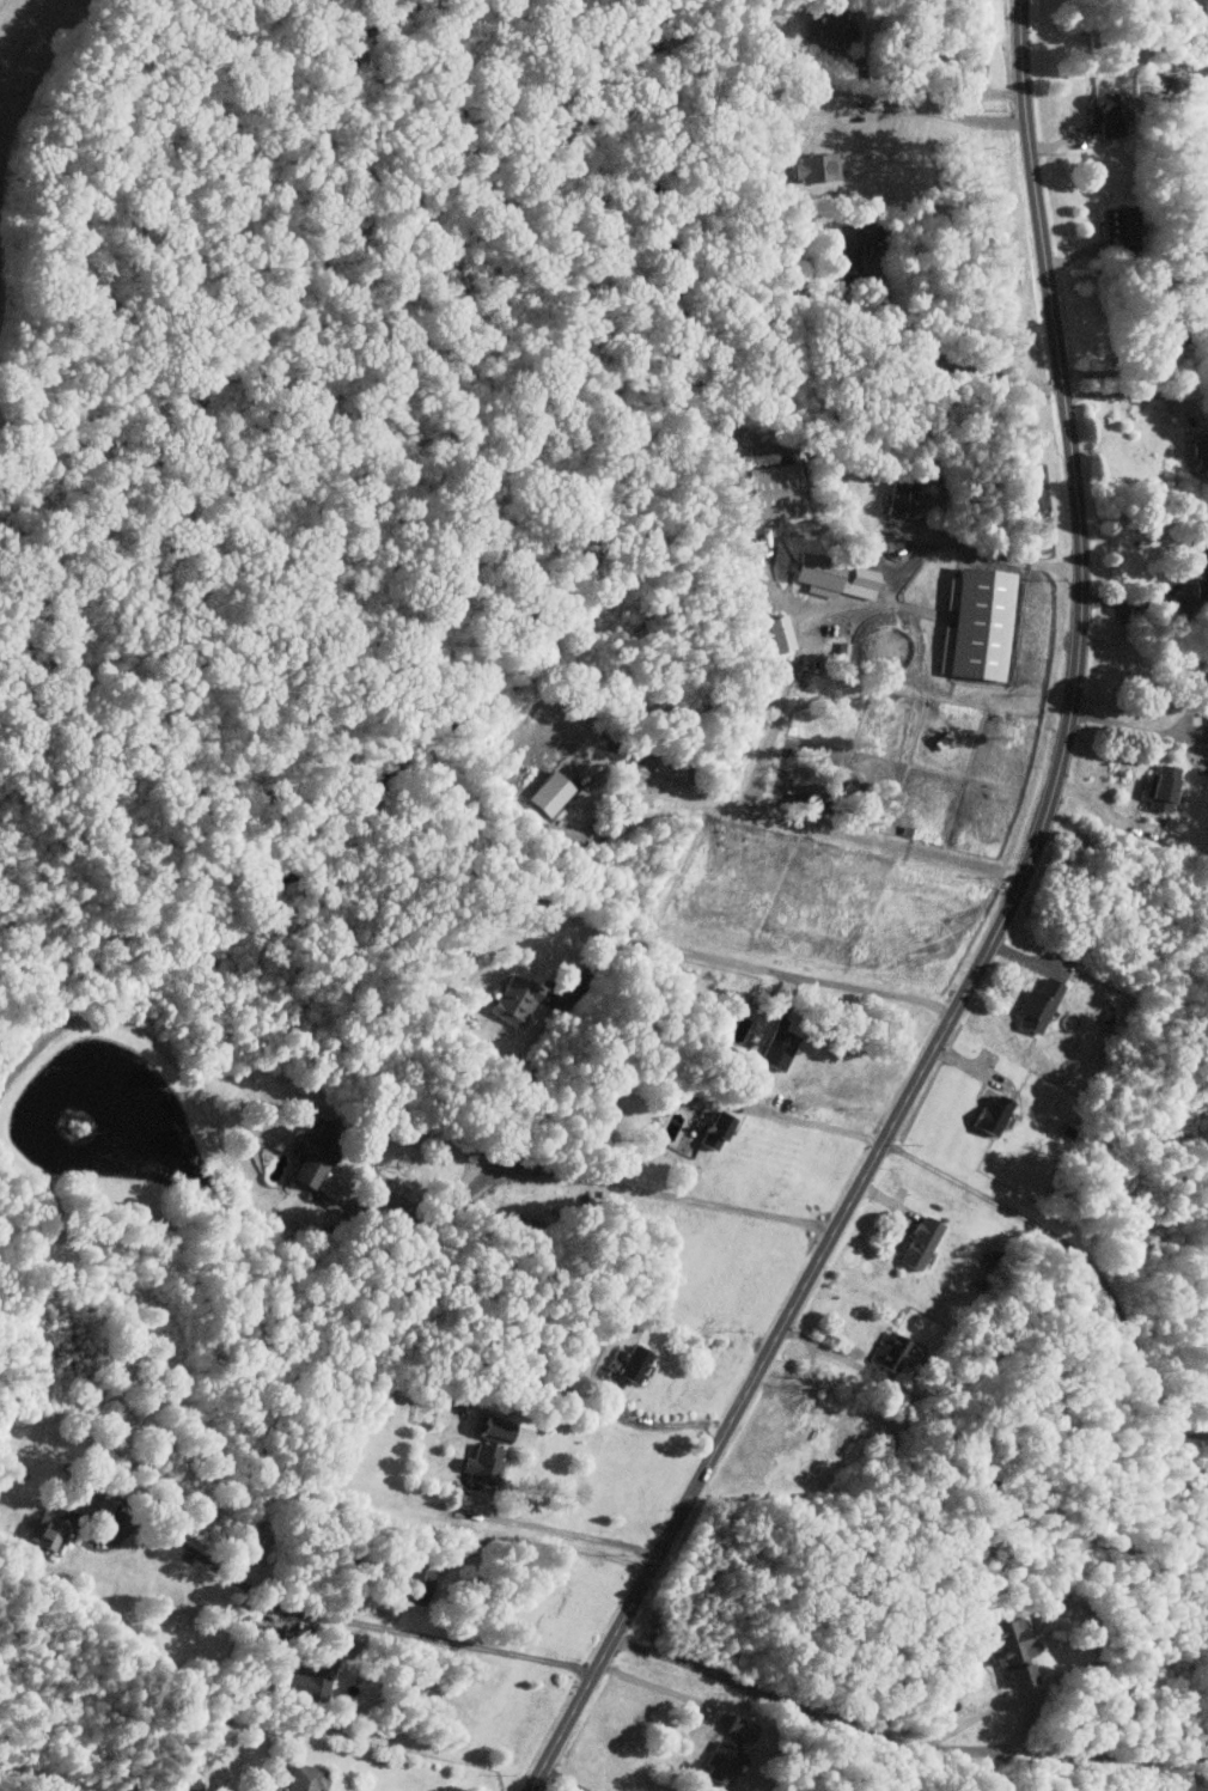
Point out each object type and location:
building: (829, 28)
road: (940, 92)
road: (947, 114)
building: (813, 167)
building: (854, 244)
road: (950, 365)
road: (1129, 392)
building: (765, 492)
building: (901, 498)
road: (992, 554)
building: (809, 572)
building: (853, 580)
road: (771, 593)
road: (1142, 601)
building: (976, 622)
building: (776, 633)
road: (805, 647)
road: (1130, 727)
building: (1157, 788)
road: (1109, 811)
road: (826, 828)
road: (992, 944)
road: (754, 967)
building: (517, 1000)
building: (1033, 1006)
building: (770, 1054)
building: (987, 1114)
road: (809, 1122)
building: (710, 1131)
road: (579, 1175)
building: (916, 1242)
road: (1084, 1254)
park: (1109, 1339)
building: (887, 1354)
building: (633, 1364)
road: (667, 1424)
building: (484, 1430)
building: (480, 1463)
building: (99, 1503)
building: (49, 1530)
road: (576, 1531)
road: (354, 1621)
building: (1003, 1647)
building: (313, 1680)
road: (661, 1687)
road: (1020, 1707)
road: (903, 1741)
building: (719, 1763)
building: (311, 1778)
road: (562, 1779)

